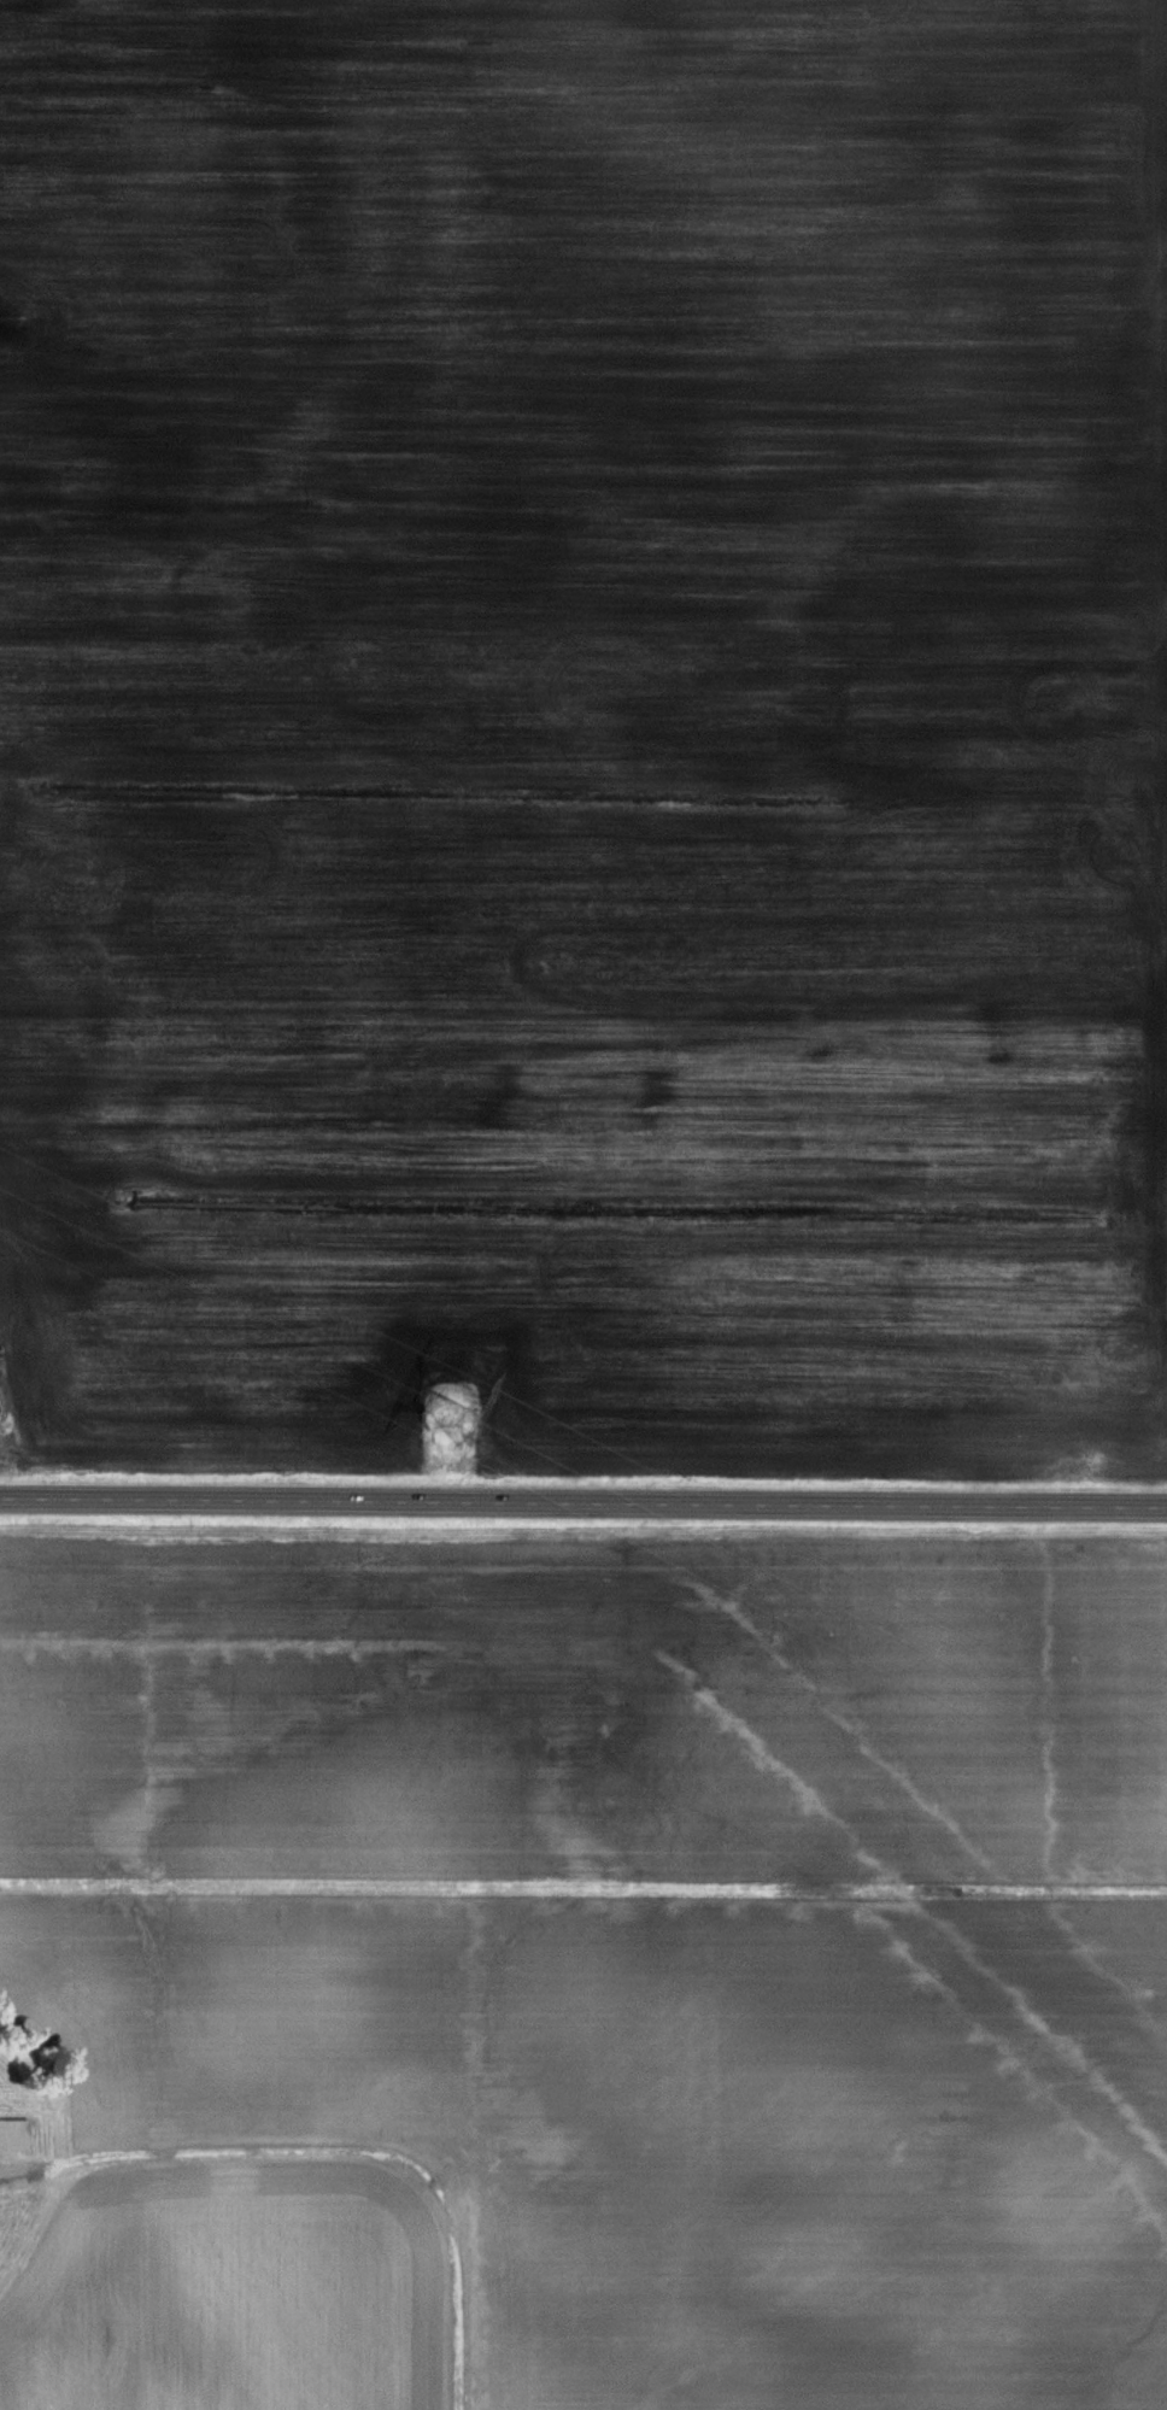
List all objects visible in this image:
power tower: (448, 1419)
road: (583, 1501)
building: (14, 2136)

